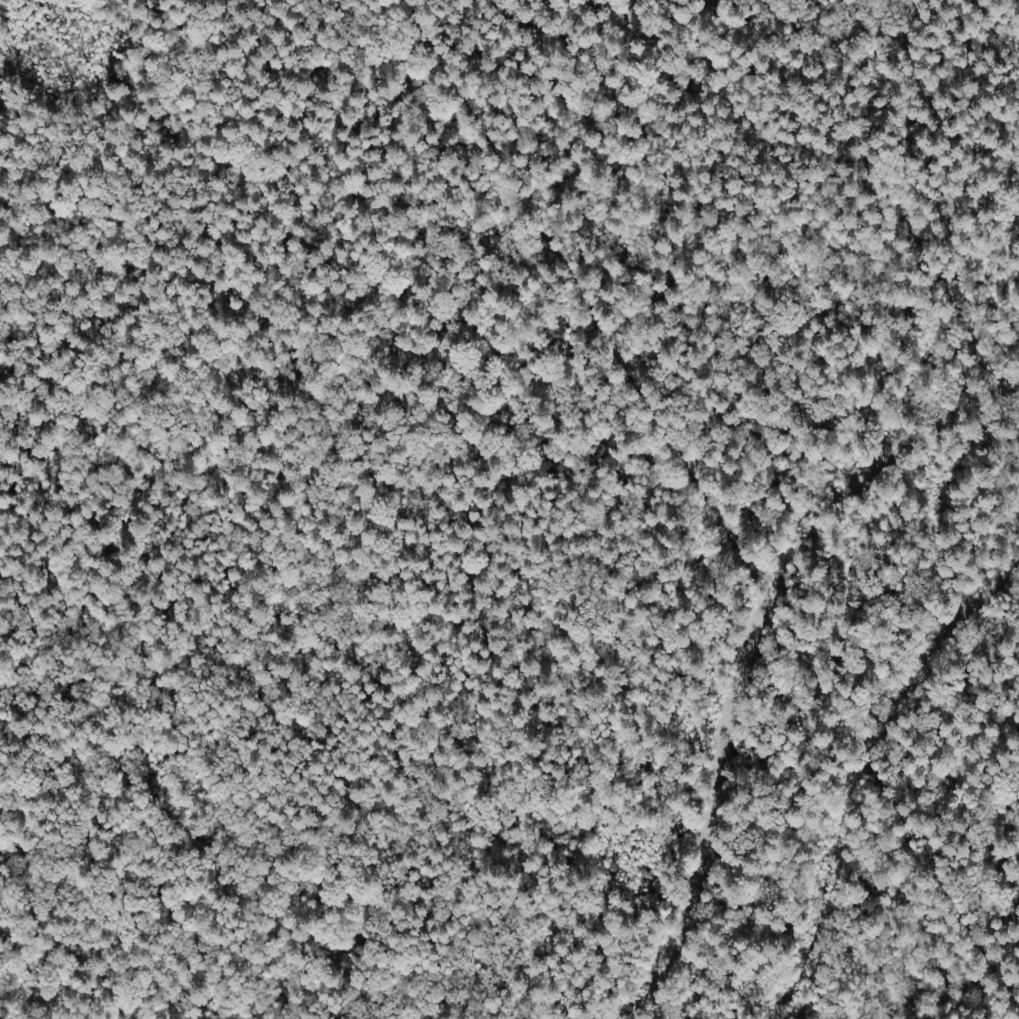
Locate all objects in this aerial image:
road: (301, 441)
road: (706, 506)

